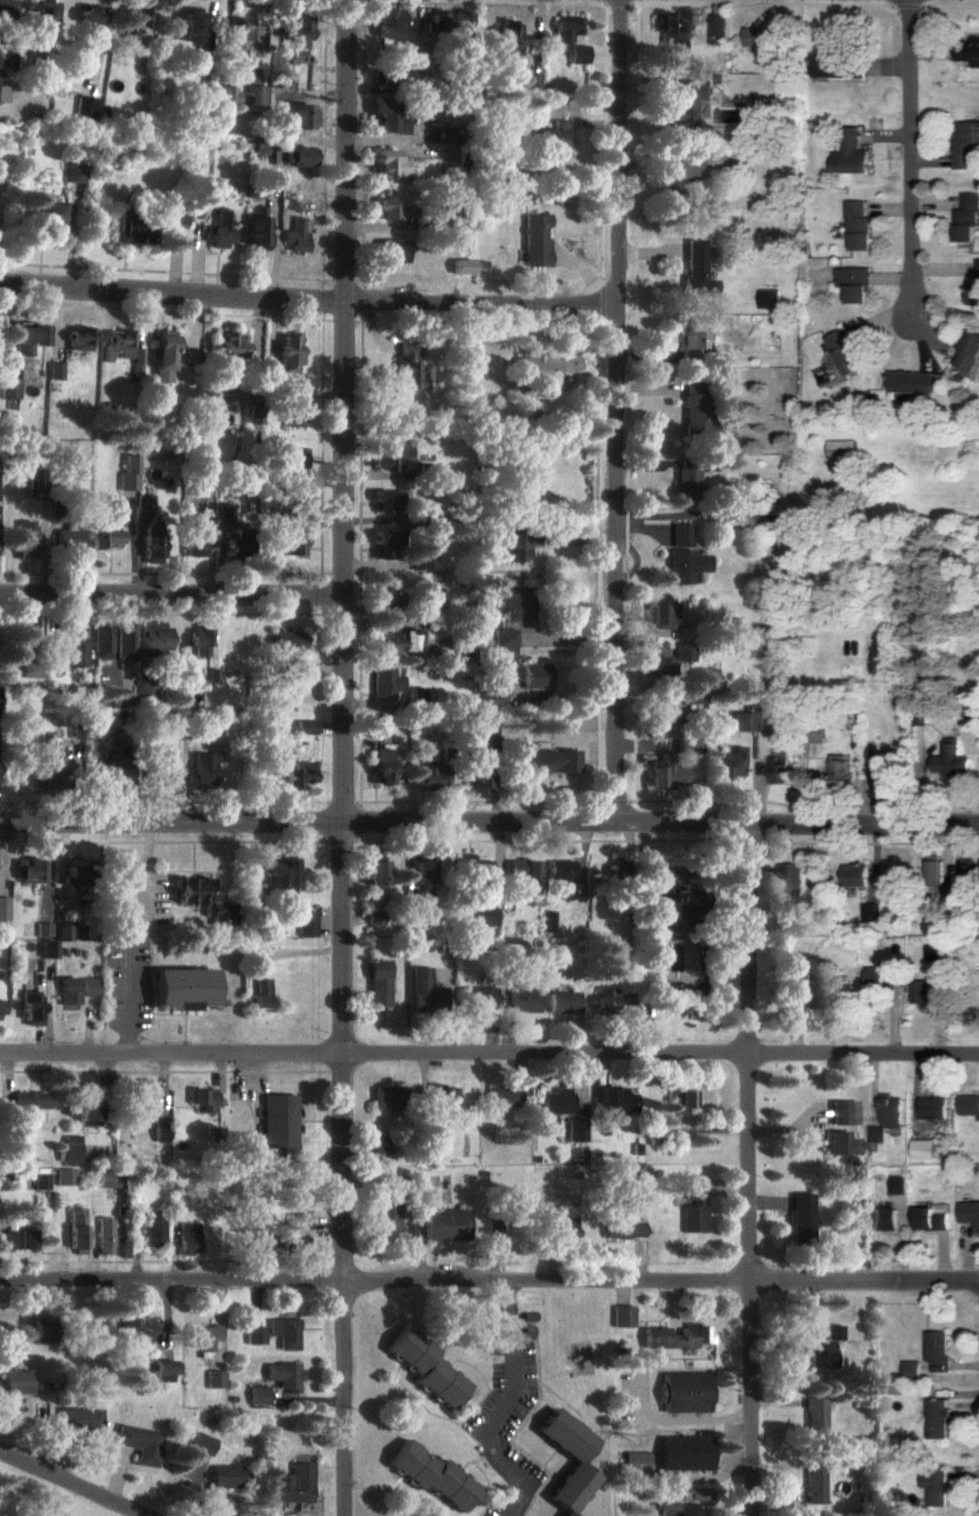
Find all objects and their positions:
building: (6, 9)
building: (40, 13)
building: (460, 18)
building: (435, 20)
building: (89, 21)
building: (132, 22)
building: (389, 23)
building: (717, 28)
building: (192, 29)
building: (564, 31)
building: (246, 35)
building: (764, 36)
building: (293, 37)
building: (506, 37)
building: (968, 50)
building: (577, 54)
building: (837, 66)
building: (393, 77)
building: (286, 78)
building: (529, 80)
building: (3, 93)
building: (241, 99)
building: (684, 101)
building: (84, 108)
building: (389, 116)
building: (295, 119)
building: (550, 139)
building: (964, 143)
building: (850, 152)
building: (295, 156)
road: (911, 157)
building: (390, 163)
building: (74, 171)
building: (681, 172)
building: (392, 210)
building: (174, 216)
building: (966, 218)
building: (47, 219)
building: (859, 225)
building: (256, 228)
building: (218, 230)
building: (131, 232)
building: (295, 236)
building: (536, 240)
building: (394, 250)
building: (464, 267)
building: (698, 267)
building: (855, 283)
building: (974, 289)
building: (770, 298)
road: (308, 299)
building: (26, 338)
building: (81, 338)
building: (693, 340)
building: (116, 346)
building: (231, 348)
building: (968, 351)
building: (847, 352)
building: (288, 354)
building: (162, 356)
building: (136, 360)
building: (408, 366)
building: (547, 369)
building: (54, 370)
building: (911, 381)
building: (9, 388)
building: (296, 407)
road: (345, 411)
road: (619, 411)
building: (473, 413)
building: (697, 413)
building: (254, 414)
building: (842, 449)
building: (294, 457)
building: (391, 459)
building: (699, 464)
building: (127, 474)
building: (688, 484)
building: (389, 501)
building: (144, 503)
building: (226, 511)
building: (25, 539)
building: (104, 539)
building: (68, 540)
building: (197, 540)
building: (294, 542)
building: (234, 543)
building: (385, 545)
building: (519, 546)
building: (152, 549)
building: (685, 556)
building: (422, 562)
road: (173, 595)
building: (389, 599)
building: (517, 604)
building: (665, 616)
building: (155, 637)
building: (102, 640)
building: (125, 641)
building: (399, 641)
building: (21, 642)
building: (201, 642)
building: (507, 642)
building: (73, 647)
building: (685, 652)
building: (661, 665)
building: (32, 670)
building: (537, 676)
building: (387, 682)
building: (147, 691)
building: (695, 695)
building: (417, 696)
building: (125, 699)
building: (490, 700)
building: (672, 717)
building: (764, 719)
building: (742, 721)
building: (307, 727)
building: (376, 730)
building: (688, 746)
building: (44, 759)
building: (954, 759)
building: (547, 761)
building: (729, 763)
building: (383, 766)
building: (841, 767)
building: (159, 768)
building: (779, 769)
building: (883, 769)
building: (110, 770)
building: (203, 770)
building: (665, 773)
building: (300, 774)
building: (433, 779)
road: (489, 823)
road: (145, 864)
building: (618, 867)
building: (937, 869)
building: (28, 870)
building: (475, 870)
building: (561, 871)
building: (75, 875)
building: (376, 875)
building: (523, 875)
building: (857, 875)
building: (281, 877)
building: (422, 880)
building: (793, 886)
building: (202, 899)
building: (682, 903)
building: (4, 909)
building: (873, 911)
building: (486, 916)
building: (376, 918)
building: (306, 923)
building: (125, 925)
building: (44, 929)
building: (62, 933)
building: (49, 949)
building: (650, 950)
building: (933, 951)
building: (690, 958)
building: (797, 981)
building: (378, 983)
building: (90, 987)
building: (183, 988)
building: (70, 991)
building: (922, 991)
building: (260, 993)
building: (424, 993)
building: (475, 997)
building: (605, 998)
building: (523, 1000)
building: (563, 1002)
road: (126, 1004)
building: (2, 1007)
building: (32, 1008)
road: (489, 1056)
building: (440, 1094)
building: (145, 1098)
building: (389, 1098)
building: (503, 1098)
building: (31, 1100)
building: (203, 1100)
building: (683, 1100)
building: (557, 1101)
building: (616, 1102)
building: (969, 1104)
building: (934, 1106)
building: (87, 1108)
building: (891, 1110)
building: (843, 1112)
building: (279, 1123)
building: (575, 1127)
building: (161, 1132)
building: (876, 1134)
building: (656, 1136)
building: (382, 1143)
building: (840, 1144)
building: (70, 1148)
building: (925, 1148)
road: (345, 1169)
road: (753, 1170)
building: (65, 1177)
building: (110, 1180)
building: (41, 1181)
building: (898, 1184)
building: (694, 1209)
building: (970, 1213)
building: (931, 1216)
building: (800, 1218)
building: (883, 1219)
building: (387, 1221)
building: (447, 1224)
building: (492, 1225)
building: (567, 1228)
building: (624, 1229)
building: (294, 1230)
building: (77, 1231)
building: (409, 1231)
building: (153, 1232)
building: (105, 1235)
building: (188, 1238)
building: (19, 1239)
road: (489, 1282)
building: (622, 1316)
building: (41, 1330)
building: (834, 1332)
building: (284, 1333)
building: (122, 1334)
building: (254, 1335)
building: (676, 1338)
building: (201, 1339)
building: (937, 1349)
building: (823, 1356)
building: (425, 1367)
building: (911, 1370)
building: (160, 1371)
building: (284, 1376)
building: (213, 1379)
building: (15, 1382)
building: (685, 1392)
building: (256, 1396)
road: (509, 1413)
building: (815, 1416)
building: (937, 1418)
building: (77, 1419)
road: (678, 1419)
building: (137, 1444)
building: (199, 1444)
building: (684, 1453)
building: (636, 1458)
building: (575, 1462)
building: (223, 1476)
building: (430, 1476)
road: (69, 1485)
building: (815, 1485)
building: (935, 1486)
building: (293, 1488)
park: (40, 1497)
building: (669, 1509)

